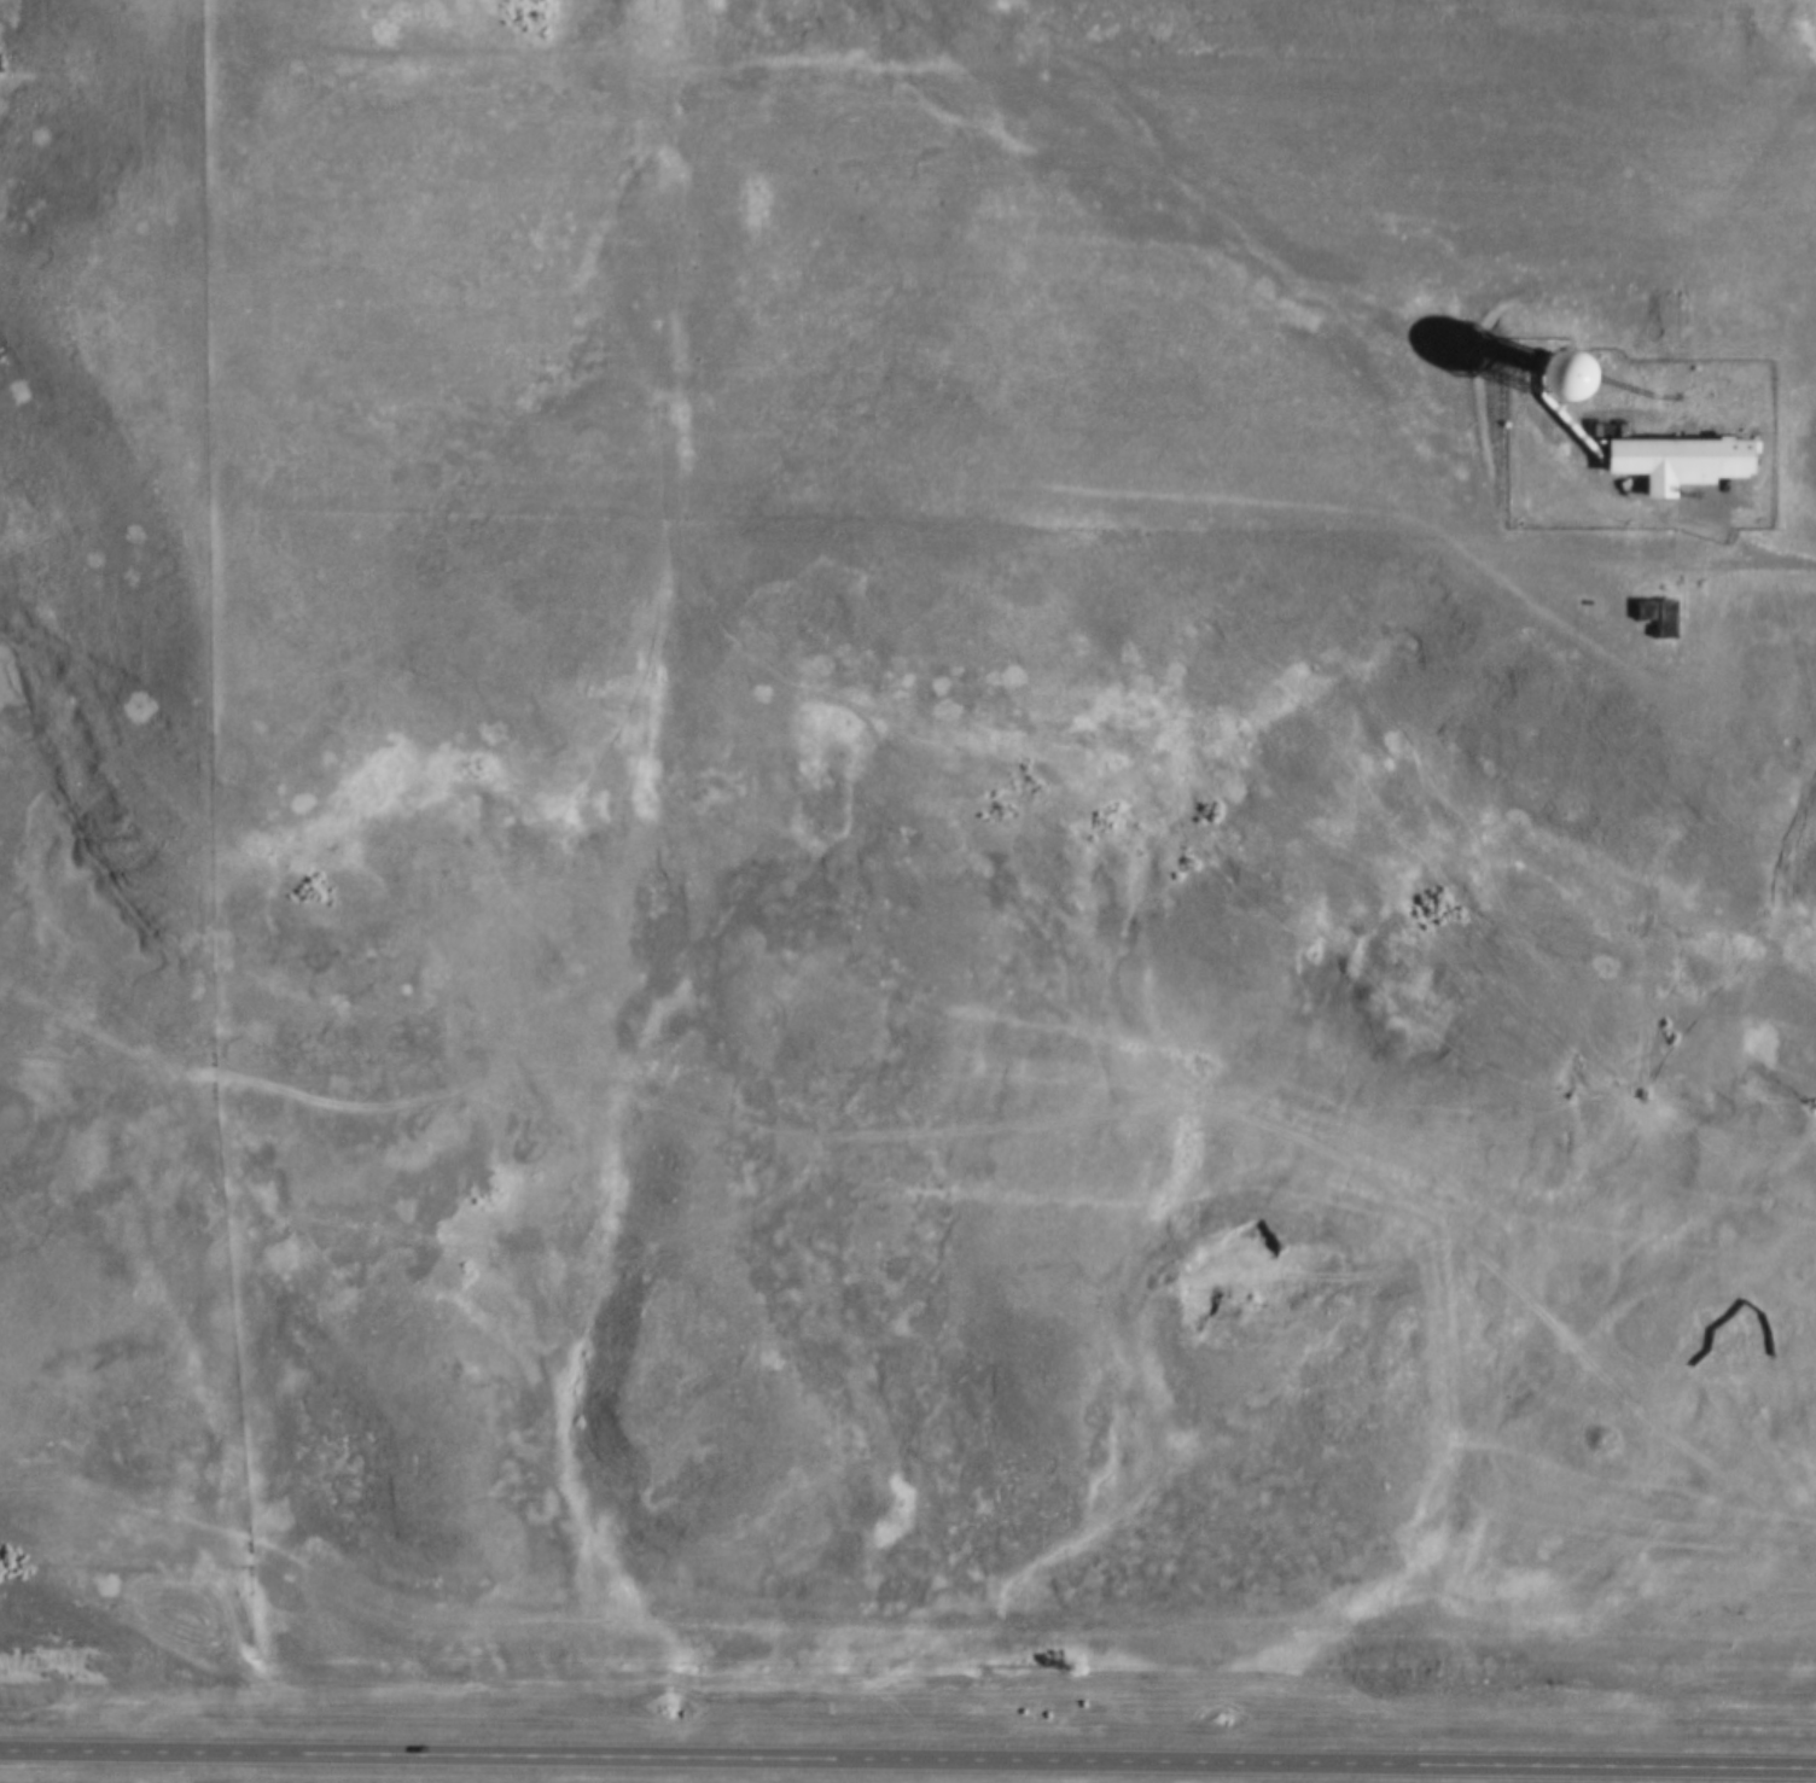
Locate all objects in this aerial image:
building: (1503, 371)
building: (1666, 461)
road: (1746, 566)
building: (1649, 617)
road: (949, 1142)
road: (908, 1758)

